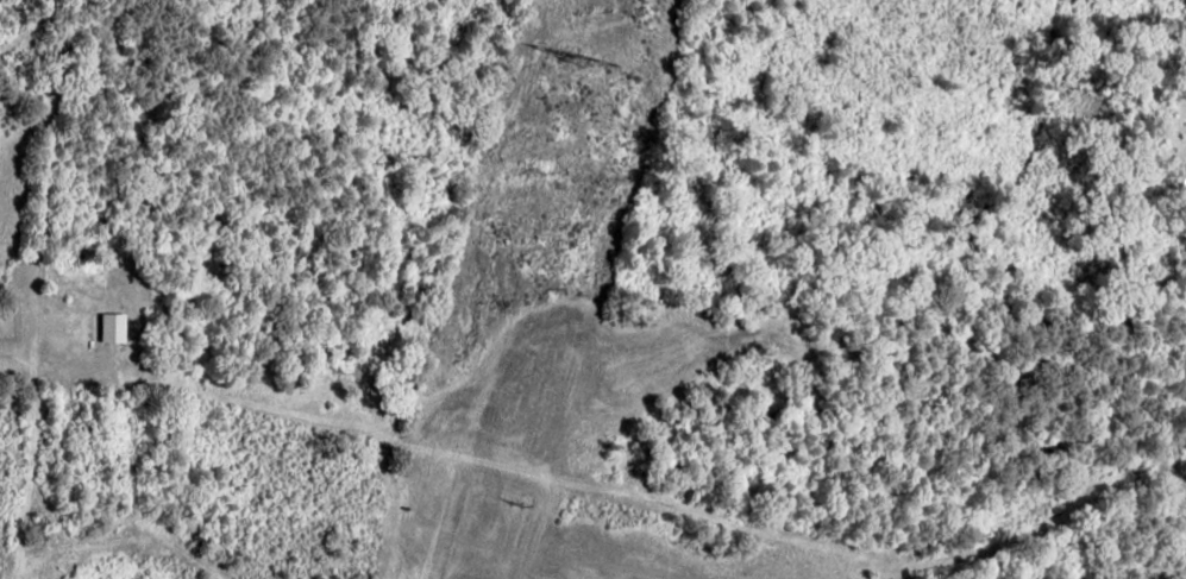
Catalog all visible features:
power tower: (567, 61)
road: (44, 128)
building: (83, 316)

